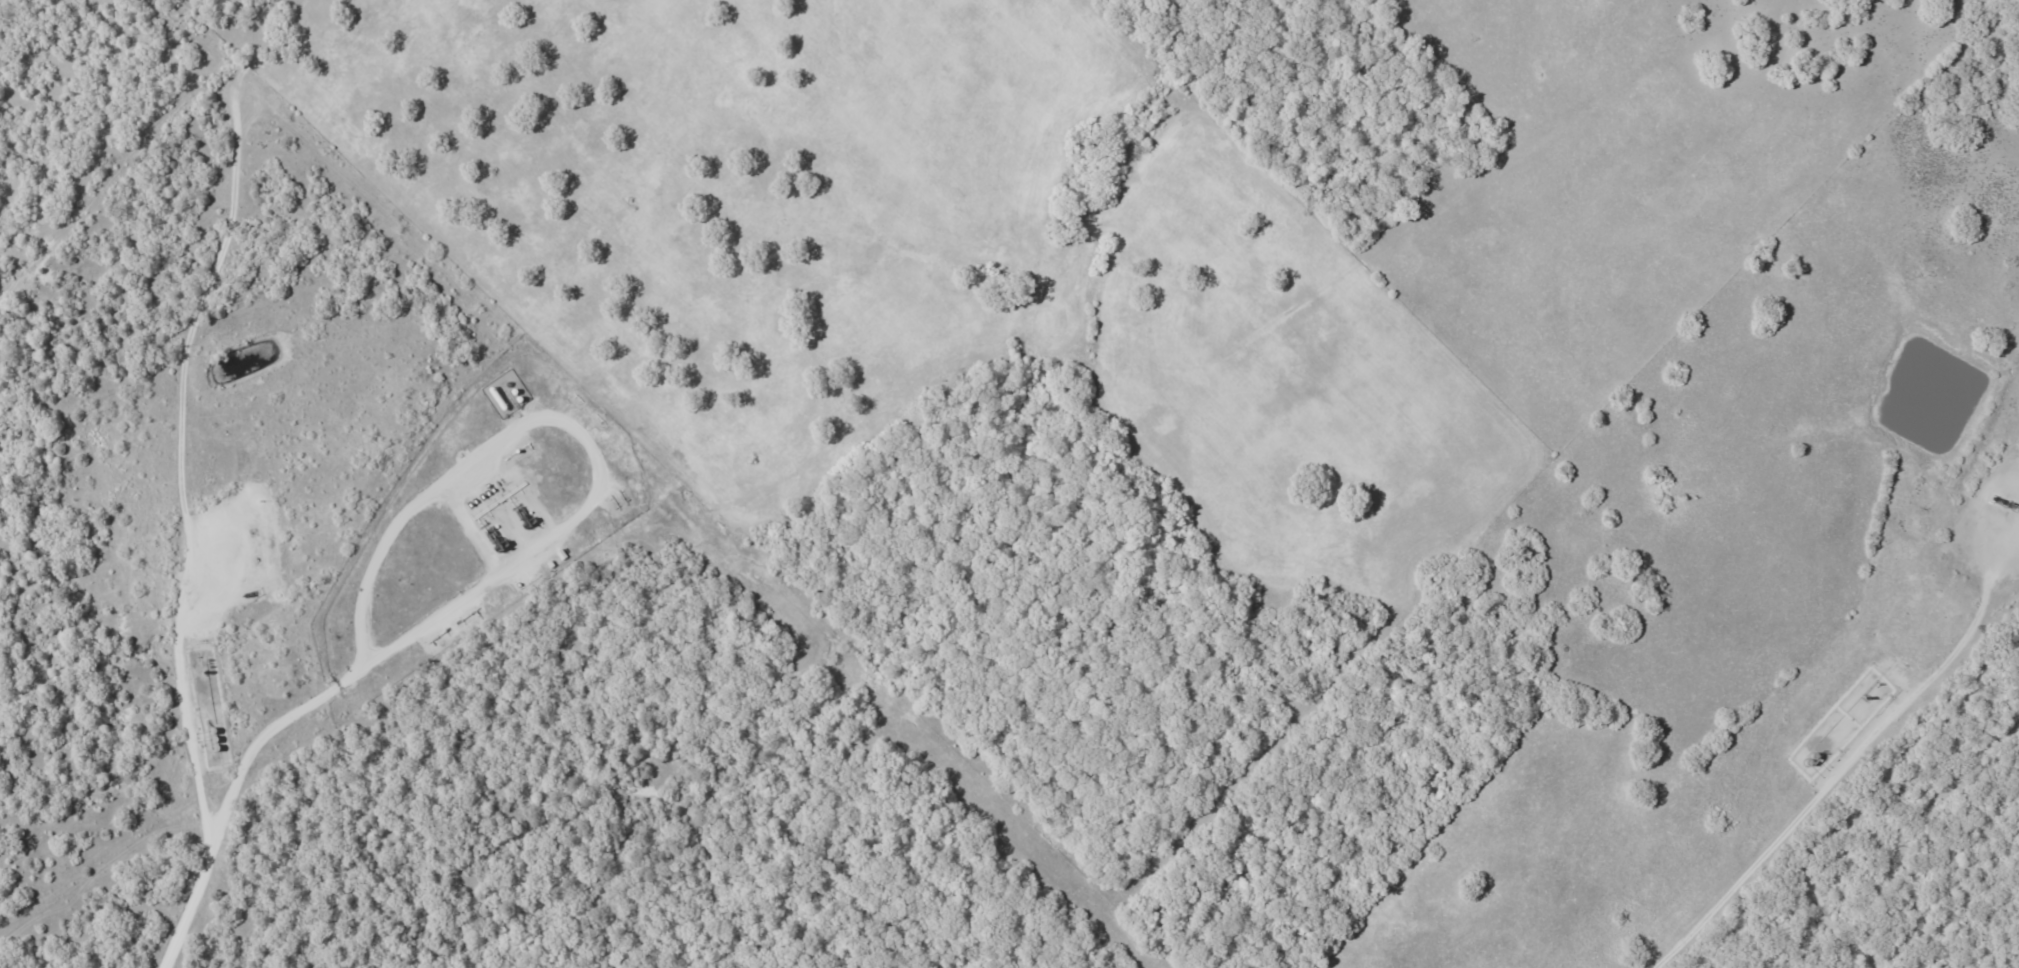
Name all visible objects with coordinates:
petroleum well: (2004, 504)

